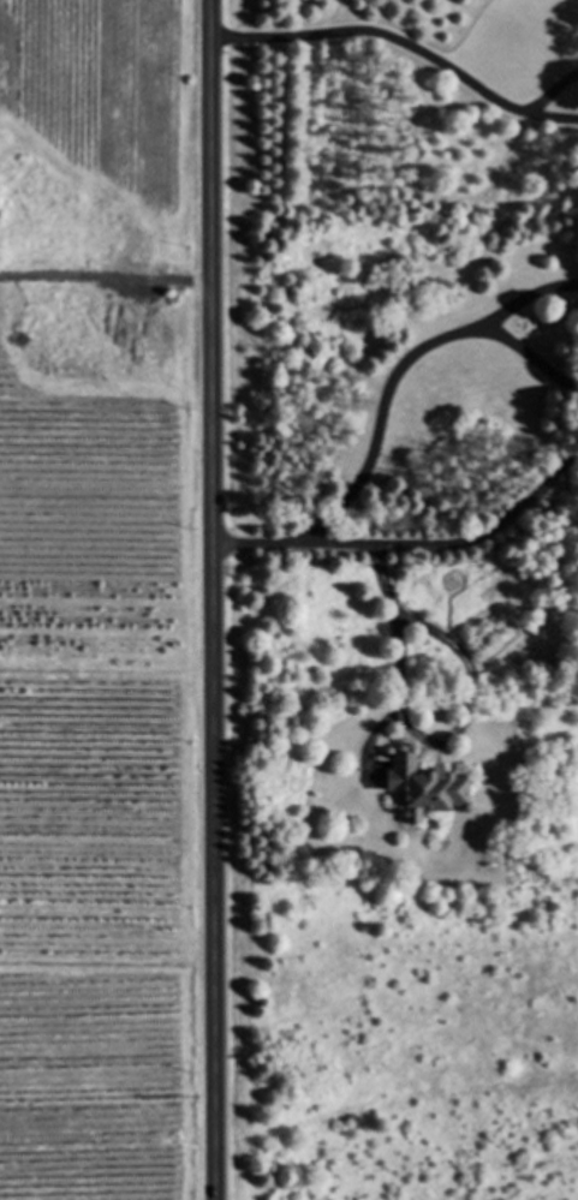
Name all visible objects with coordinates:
road: (380, 32)
road: (552, 89)
road: (552, 115)
road: (525, 297)
road: (526, 356)
road: (380, 424)
road: (416, 547)
road: (220, 599)
road: (423, 738)
building: (421, 787)

